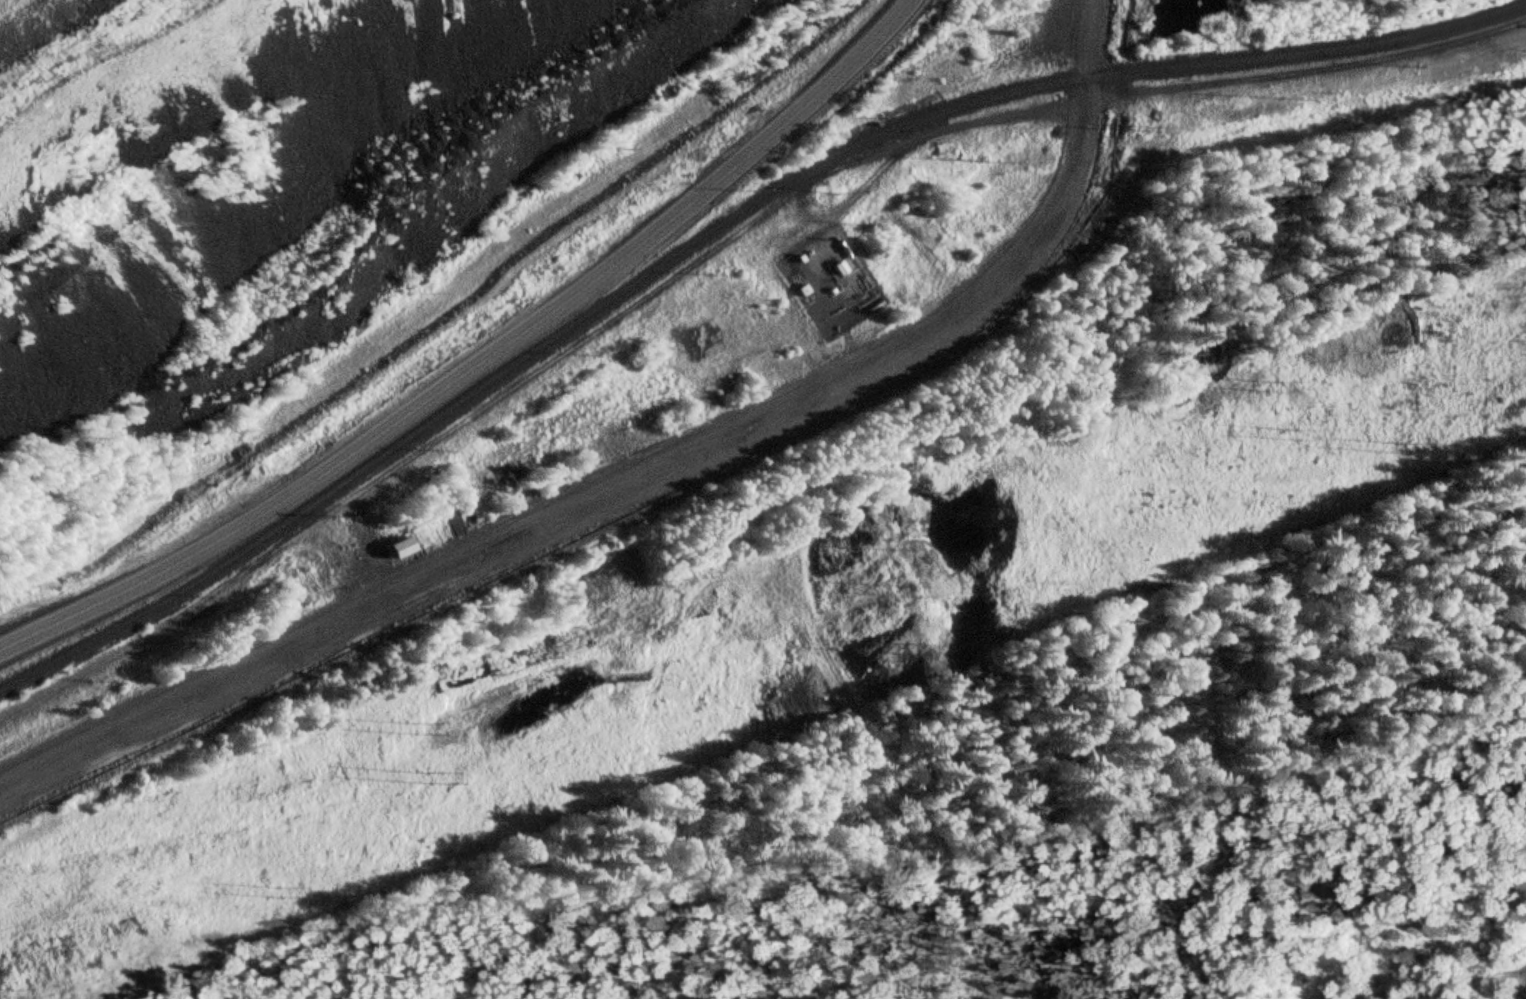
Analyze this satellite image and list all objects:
quarry: (269, 163)
railway: (717, 228)
road: (386, 324)
road: (479, 365)
road: (837, 380)
road: (478, 415)
road: (257, 485)
building: (394, 549)

